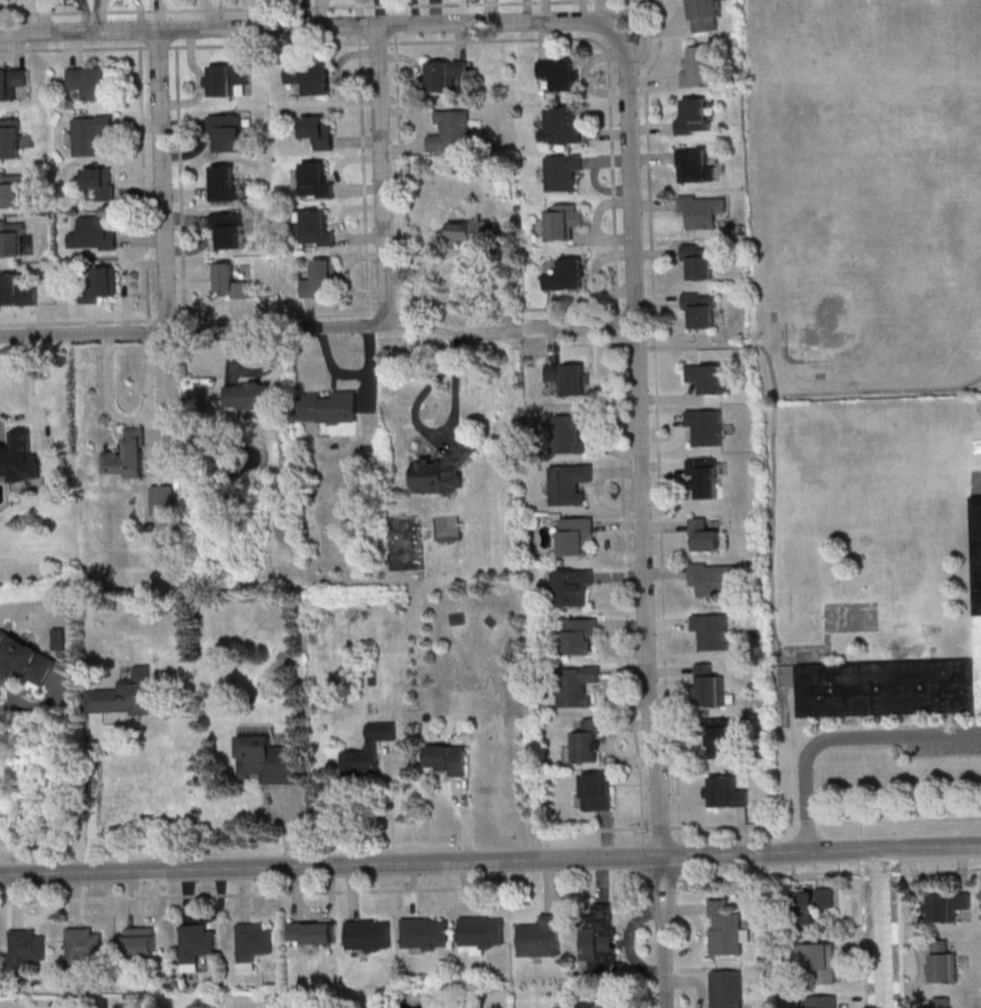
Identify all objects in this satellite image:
road: (273, 6)
road: (643, 7)
road: (527, 11)
road: (546, 11)
road: (584, 11)
road: (489, 12)
road: (320, 13)
road: (358, 13)
road: (379, 13)
road: (414, 13)
road: (435, 13)
road: (211, 14)
road: (251, 14)
road: (271, 14)
building: (706, 14)
road: (84, 15)
road: (141, 15)
road: (159, 15)
road: (30, 16)
road: (45, 16)
road: (100, 16)
road: (636, 19)
road: (678, 19)
road: (312, 27)
road: (667, 30)
road: (461, 41)
road: (546, 41)
road: (267, 44)
road: (240, 45)
road: (73, 47)
road: (72, 48)
road: (20, 50)
building: (699, 67)
road: (610, 70)
building: (560, 74)
building: (446, 75)
road: (420, 76)
road: (336, 77)
road: (586, 77)
building: (228, 79)
building: (312, 79)
road: (654, 81)
road: (200, 82)
building: (11, 83)
building: (90, 83)
road: (397, 95)
road: (414, 115)
building: (694, 118)
road: (139, 120)
road: (183, 123)
building: (562, 127)
road: (652, 127)
building: (453, 132)
building: (227, 133)
building: (319, 133)
building: (91, 135)
road: (609, 135)
building: (10, 139)
road: (359, 141)
road: (195, 150)
road: (404, 150)
road: (653, 157)
road: (346, 159)
road: (609, 159)
building: (693, 165)
building: (562, 172)
road: (363, 173)
road: (382, 175)
road: (162, 181)
building: (318, 181)
road: (144, 182)
road: (180, 182)
building: (101, 184)
building: (224, 184)
road: (360, 189)
road: (601, 189)
building: (11, 191)
road: (141, 191)
road: (184, 193)
road: (653, 204)
building: (517, 207)
road: (349, 208)
road: (601, 208)
building: (702, 211)
road: (186, 218)
building: (564, 222)
building: (316, 228)
building: (229, 230)
building: (473, 230)
building: (96, 234)
building: (12, 238)
road: (362, 238)
road: (606, 238)
road: (142, 239)
road: (198, 245)
road: (470, 249)
road: (655, 252)
building: (700, 262)
road: (595, 273)
road: (346, 276)
building: (567, 276)
building: (320, 279)
road: (125, 281)
building: (229, 281)
building: (99, 287)
building: (16, 293)
road: (657, 301)
road: (569, 305)
building: (701, 310)
road: (553, 311)
road: (311, 314)
road: (240, 315)
road: (275, 316)
road: (91, 320)
road: (77, 321)
park: (827, 321)
road: (29, 322)
road: (617, 323)
road: (579, 328)
road: (192, 331)
road: (474, 331)
road: (572, 344)
road: (635, 344)
road: (554, 345)
road: (231, 355)
road: (267, 367)
road: (332, 367)
road: (370, 367)
building: (709, 379)
building: (569, 380)
road: (879, 391)
road: (30, 393)
road: (109, 394)
building: (249, 396)
road: (670, 398)
road: (150, 405)
road: (657, 410)
building: (332, 413)
road: (17, 415)
road: (661, 418)
road: (617, 419)
building: (706, 428)
road: (442, 434)
building: (569, 434)
road: (771, 436)
road: (672, 444)
road: (606, 448)
building: (130, 457)
building: (20, 459)
building: (512, 460)
road: (662, 467)
building: (445, 472)
road: (620, 473)
road: (642, 474)
building: (705, 478)
park: (976, 482)
building: (570, 484)
building: (163, 500)
road: (609, 501)
road: (665, 526)
road: (621, 527)
building: (576, 536)
building: (704, 537)
park: (404, 540)
road: (613, 554)
road: (666, 573)
road: (622, 576)
building: (712, 580)
building: (574, 588)
road: (626, 589)
park: (851, 619)
road: (667, 623)
road: (624, 625)
building: (712, 630)
building: (581, 638)
building: (59, 639)
road: (614, 651)
building: (24, 659)
road: (670, 670)
road: (626, 673)
building: (899, 674)
building: (710, 686)
building: (576, 687)
road: (12, 690)
building: (124, 695)
road: (616, 701)
road: (45, 702)
road: (631, 724)
road: (673, 728)
building: (718, 735)
road: (842, 737)
building: (587, 739)
parking lot: (942, 748)
building: (366, 754)
road: (793, 754)
road: (618, 757)
building: (449, 758)
building: (271, 760)
building: (597, 791)
road: (91, 792)
building: (727, 792)
road: (388, 803)
road: (900, 820)
road: (464, 821)
road: (808, 823)
road: (733, 825)
road: (660, 827)
road: (614, 828)
road: (860, 828)
road: (292, 829)
road: (742, 831)
road: (606, 835)
road: (861, 848)
road: (490, 858)
road: (936, 871)
road: (847, 872)
road: (824, 873)
road: (746, 875)
road: (880, 875)
road: (601, 876)
road: (866, 876)
road: (550, 881)
road: (467, 885)
road: (410, 887)
road: (352, 889)
road: (297, 890)
road: (243, 891)
road: (186, 892)
road: (253, 893)
road: (133, 895)
road: (75, 896)
road: (15, 898)
road: (501, 898)
road: (163, 905)
road: (331, 905)
building: (948, 905)
building: (807, 906)
road: (220, 907)
road: (51, 910)
road: (685, 910)
road: (882, 927)
building: (724, 928)
building: (312, 930)
building: (480, 930)
building: (424, 932)
building: (367, 934)
road: (864, 935)
building: (539, 936)
building: (599, 937)
building: (141, 940)
building: (253, 940)
road: (694, 940)
building: (196, 942)
road: (627, 942)
building: (82, 945)
building: (26, 947)
road: (665, 959)
building: (944, 962)
building: (821, 963)
road: (695, 981)
building: (725, 988)
building: (822, 1001)
building: (585, 1004)
building: (621, 1007)

